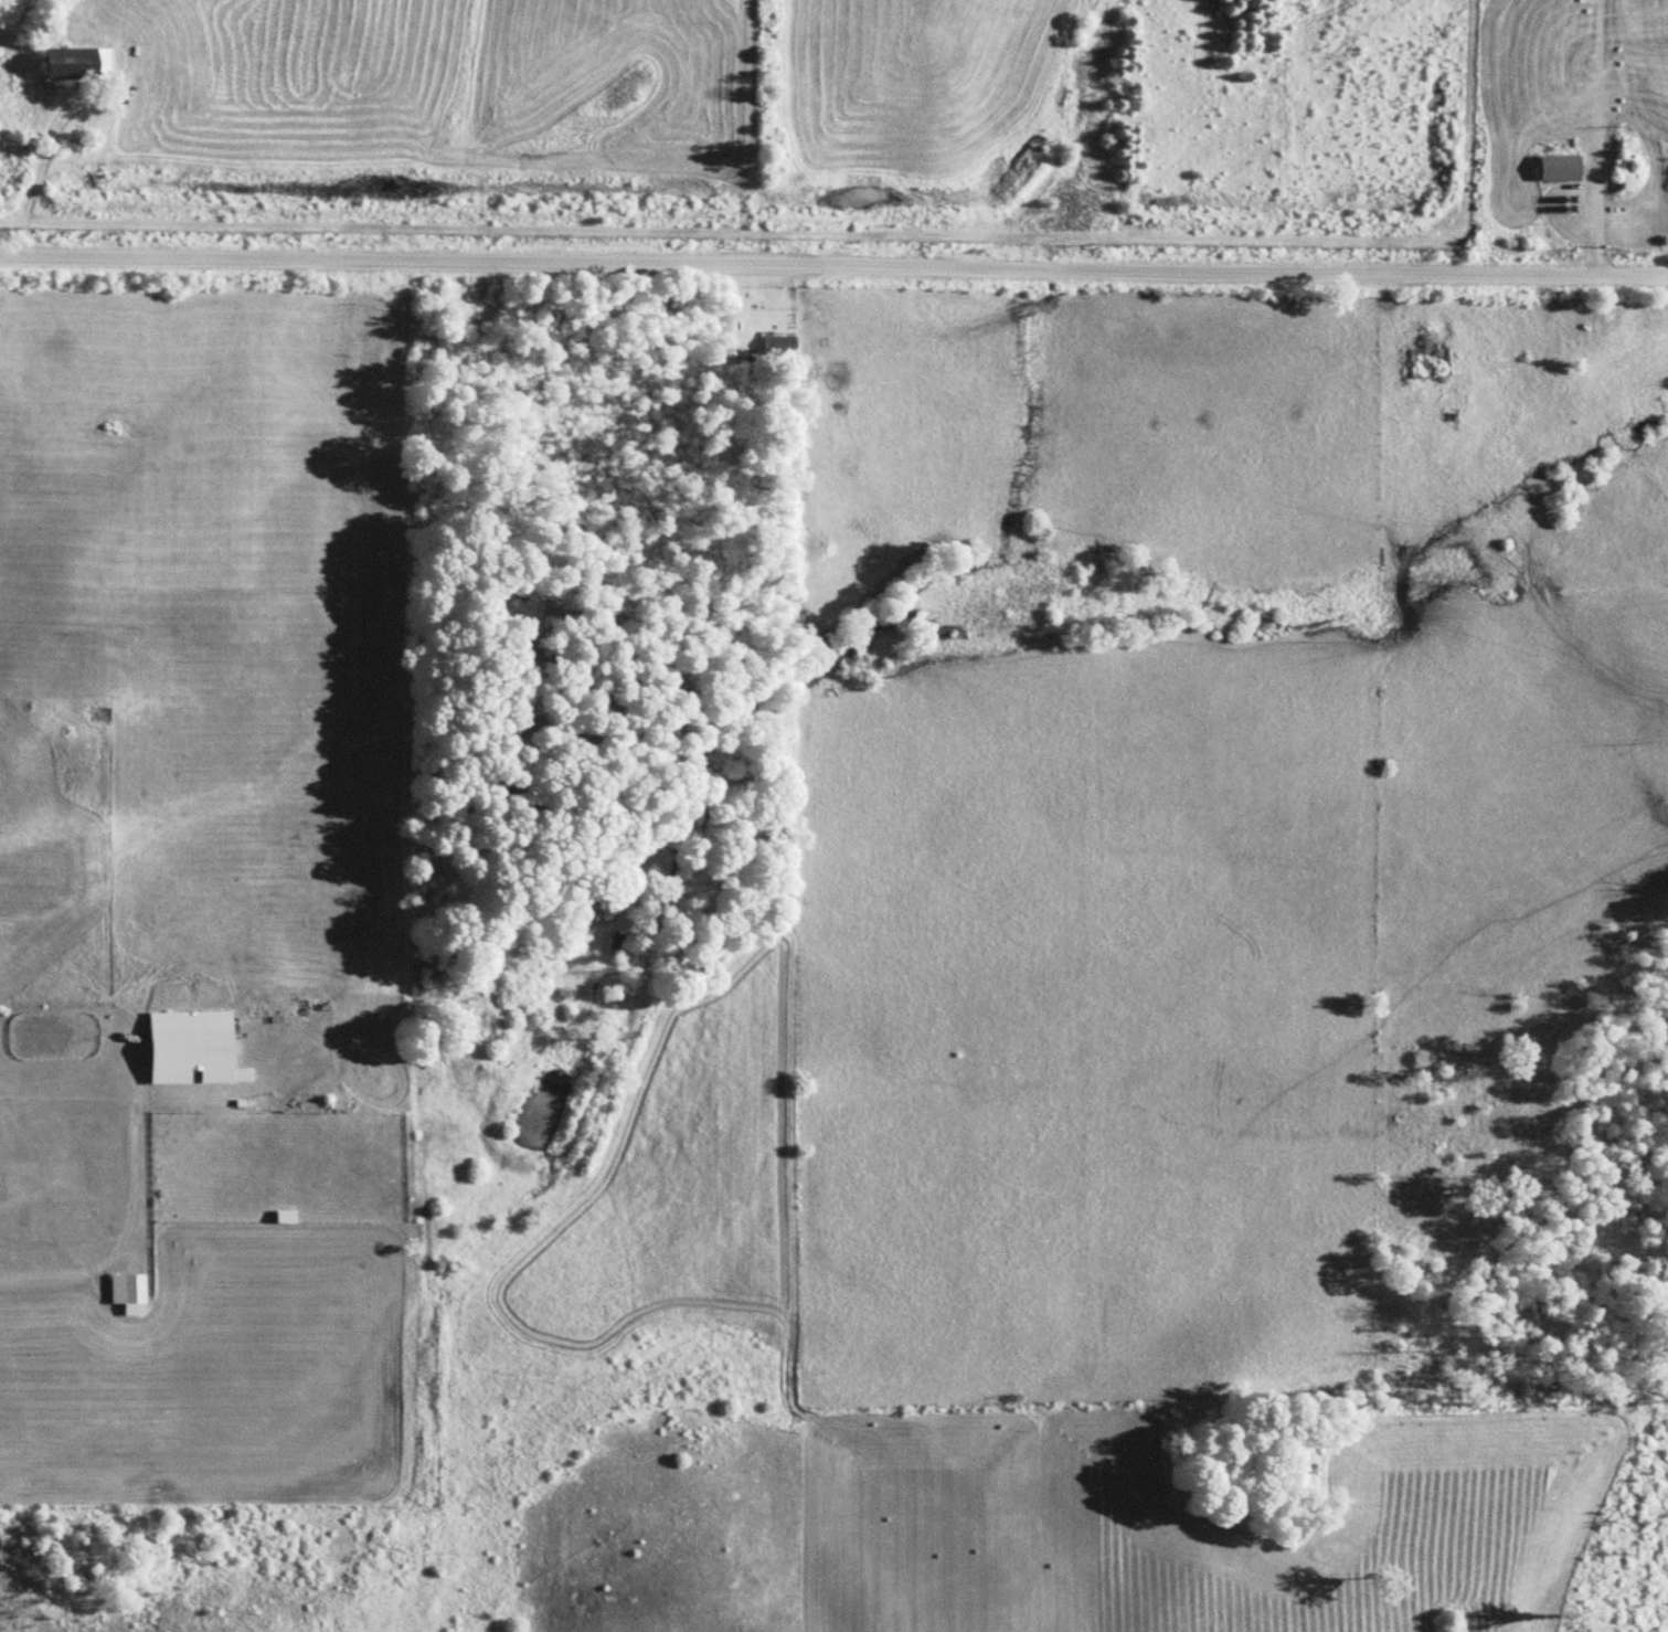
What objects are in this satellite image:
building: (82, 63)
building: (1627, 165)
building: (1555, 168)
road: (833, 246)
building: (782, 346)
building: (106, 711)
building: (196, 1046)
building: (290, 1216)
building: (134, 1292)

